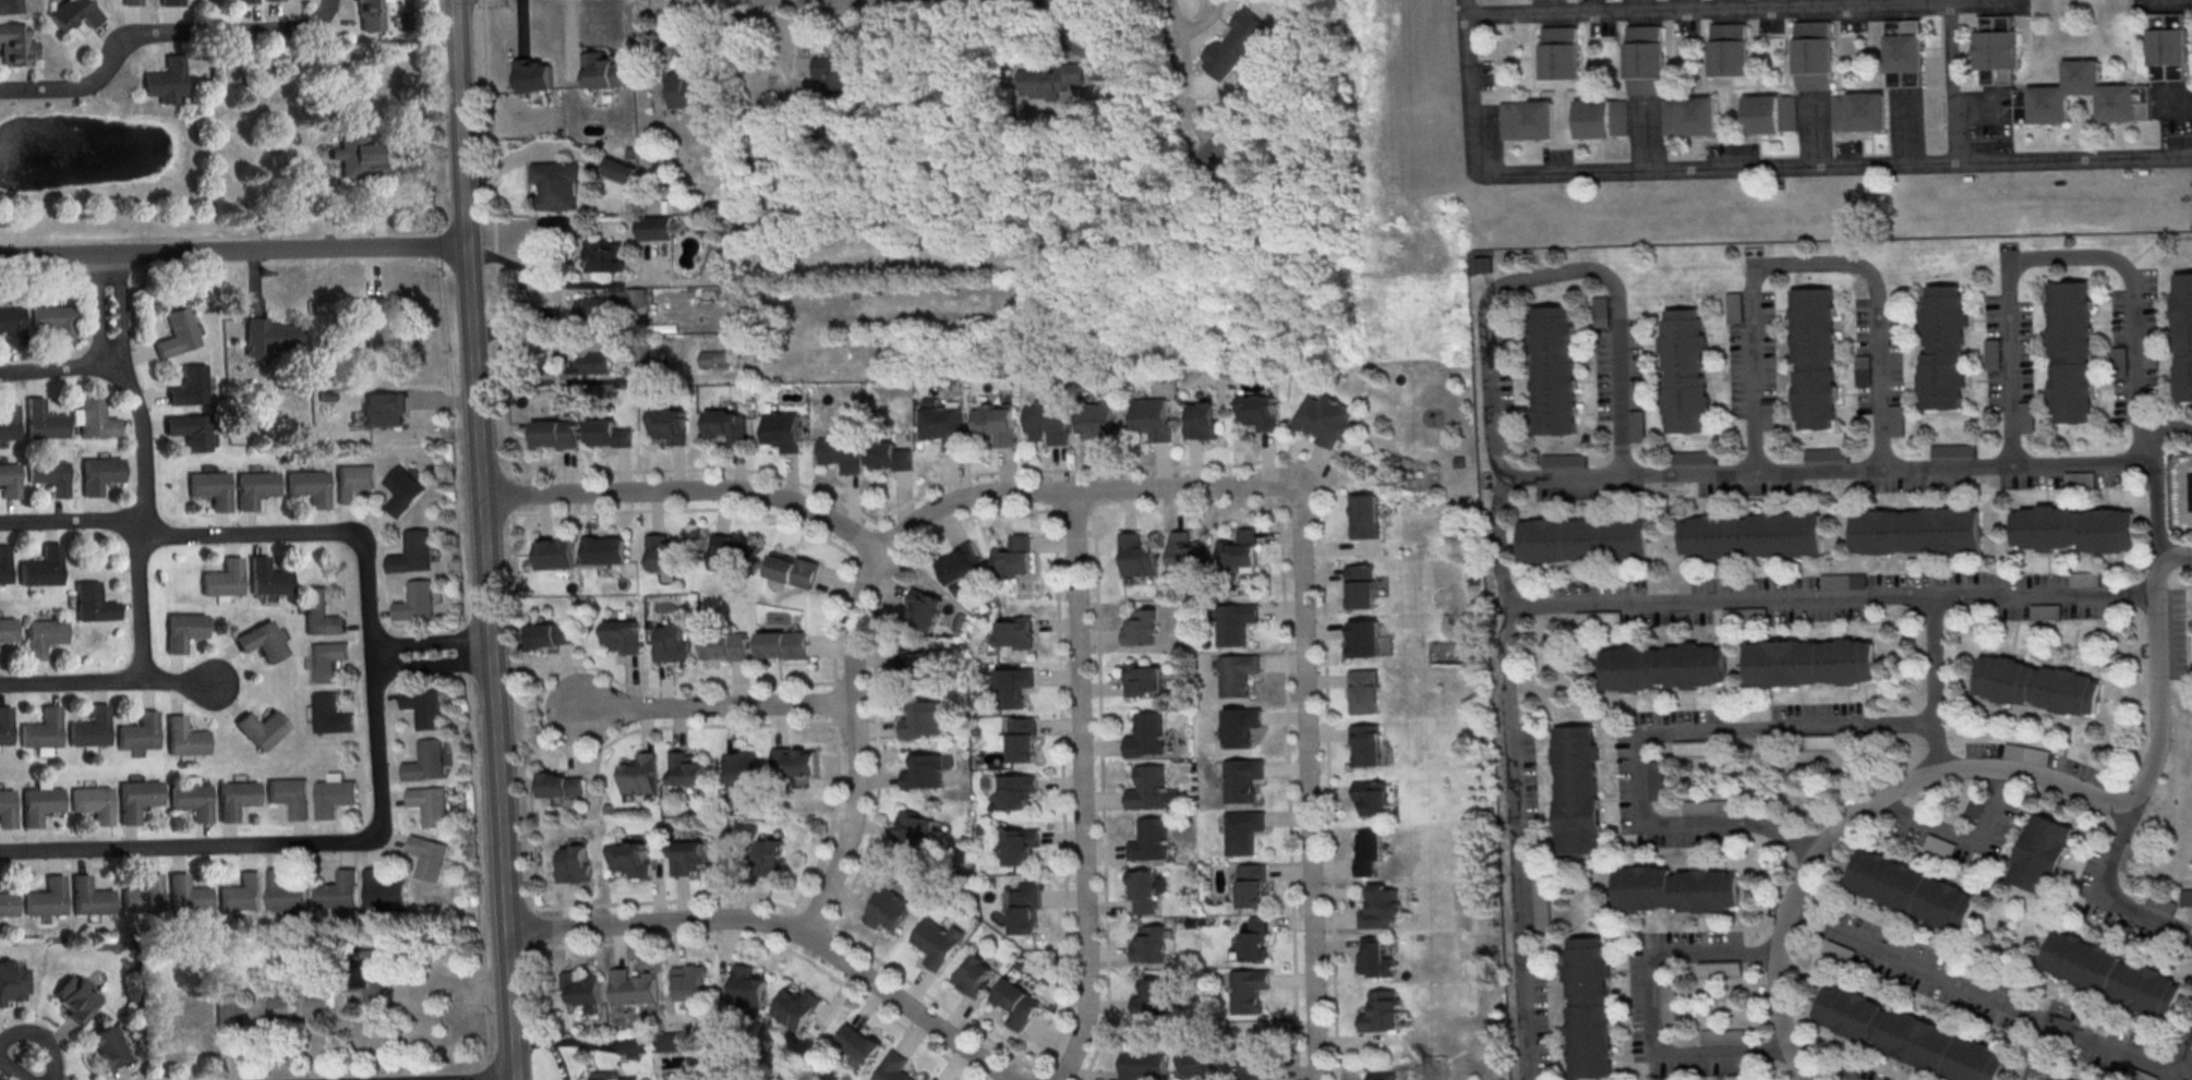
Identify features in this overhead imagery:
building: (272, 1)
road: (1984, 1)
building: (245, 2)
building: (129, 4)
building: (169, 4)
building: (9, 8)
road: (1710, 11)
building: (71, 15)
building: (369, 16)
road: (1194, 25)
road: (290, 29)
road: (522, 31)
road: (570, 37)
road: (675, 38)
road: (803, 39)
building: (1234, 47)
building: (2167, 47)
building: (14, 48)
road: (1082, 49)
building: (1730, 49)
building: (1997, 49)
road: (111, 50)
building: (1643, 51)
building: (1559, 52)
building: (1904, 52)
building: (1812, 54)
building: (601, 74)
building: (838, 75)
building: (534, 78)
building: (164, 84)
building: (1049, 84)
road: (1466, 87)
building: (2082, 89)
road: (1955, 90)
building: (689, 96)
building: (1858, 111)
building: (1771, 113)
building: (1689, 117)
building: (1601, 118)
building: (1527, 119)
road: (534, 150)
building: (1214, 153)
building: (354, 158)
road: (1832, 167)
building: (618, 173)
building: (557, 187)
road: (328, 195)
road: (377, 213)
building: (654, 231)
road: (495, 239)
road: (234, 251)
road: (2069, 258)
building: (602, 259)
building: (1483, 264)
road: (1809, 264)
road: (1553, 275)
road: (577, 286)
building: (612, 304)
building: (1601, 311)
road: (98, 313)
road: (119, 313)
building: (53, 324)
building: (12, 329)
building: (375, 337)
building: (174, 338)
building: (2183, 339)
building: (266, 340)
building: (643, 352)
building: (2151, 352)
building: (1991, 354)
building: (1941, 355)
building: (2071, 356)
building: (1814, 357)
building: (1504, 359)
building: (712, 362)
building: (2120, 362)
building: (595, 367)
building: (1862, 369)
road: (55, 371)
road: (643, 372)
building: (1554, 375)
building: (1685, 378)
road: (603, 383)
building: (189, 388)
building: (385, 412)
building: (1767, 414)
building: (1257, 416)
building: (2025, 416)
building: (1201, 420)
building: (94, 422)
building: (1152, 422)
building: (996, 423)
building: (1325, 423)
building: (8, 425)
building: (43, 425)
building: (1636, 425)
building: (1097, 426)
building: (1048, 427)
building: (727, 429)
building: (943, 429)
building: (670, 430)
building: (189, 434)
building: (782, 434)
building: (555, 438)
building: (610, 438)
building: (1952, 450)
building: (840, 458)
building: (889, 461)
road: (1856, 470)
road: (609, 473)
building: (99, 477)
building: (2080, 480)
building: (48, 481)
building: (353, 484)
building: (9, 485)
power tower: (1413, 487)
building: (254, 490)
building: (309, 490)
road: (688, 490)
road: (1075, 490)
building: (210, 492)
building: (404, 494)
road: (140, 521)
building: (1364, 521)
building: (2073, 534)
road: (178, 537)
building: (1914, 538)
road: (484, 539)
building: (1749, 541)
road: (1497, 544)
building: (1585, 545)
building: (605, 550)
building: (1239, 550)
building: (1187, 551)
building: (664, 553)
building: (558, 554)
building: (730, 554)
building: (1136, 555)
building: (1013, 557)
building: (413, 558)
building: (960, 563)
building: (3, 568)
building: (795, 570)
building: (40, 572)
building: (2083, 579)
building: (265, 580)
building: (1843, 581)
building: (222, 583)
building: (1359, 585)
road: (1856, 602)
building: (92, 603)
building: (417, 605)
building: (925, 609)
building: (2044, 611)
building: (320, 615)
building: (1597, 619)
building: (1232, 622)
building: (1141, 628)
building: (7, 630)
building: (181, 632)
building: (1014, 632)
road: (1281, 633)
building: (552, 634)
building: (625, 635)
building: (41, 636)
building: (1361, 638)
building: (261, 642)
road: (426, 642)
building: (673, 642)
building: (782, 645)
building: (725, 646)
building: (1808, 660)
building: (326, 662)
building: (915, 665)
building: (1661, 666)
road: (430, 667)
road: (463, 669)
building: (1234, 674)
building: (1143, 679)
road: (70, 683)
road: (177, 683)
road: (1931, 685)
road: (372, 687)
building: (1012, 687)
building: (1362, 691)
building: (2036, 691)
building: (423, 707)
road: (710, 707)
building: (329, 716)
building: (919, 720)
building: (4, 726)
building: (1238, 726)
building: (89, 728)
building: (260, 729)
building: (40, 730)
building: (137, 733)
building: (1148, 733)
road: (1651, 736)
building: (183, 739)
building: (1019, 740)
building: (1364, 745)
road: (853, 748)
building: (1693, 748)
building: (2025, 754)
building: (424, 762)
building: (794, 762)
building: (740, 768)
building: (686, 769)
road: (2015, 770)
building: (922, 772)
building: (640, 774)
building: (1239, 779)
building: (1653, 779)
building: (563, 784)
building: (1152, 785)
road: (1305, 786)
road: (1079, 788)
building: (1574, 789)
building: (1015, 790)
building: (289, 796)
building: (1371, 796)
building: (333, 797)
road: (1099, 797)
building: (136, 799)
building: (236, 799)
building: (191, 802)
road: (1060, 802)
building: (92, 804)
building: (429, 804)
building: (38, 805)
building: (1703, 806)
building: (1972, 808)
building: (5, 810)
road: (1326, 810)
building: (914, 827)
building: (1240, 832)
road: (1958, 836)
building: (1153, 838)
road: (1513, 842)
road: (822, 844)
building: (1019, 845)
building: (1937, 845)
road: (186, 848)
building: (1366, 851)
building: (2039, 853)
building: (687, 857)
building: (2127, 857)
building: (426, 858)
building: (769, 858)
building: (630, 859)
building: (575, 863)
building: (1249, 886)
building: (1672, 887)
building: (381, 889)
building: (1910, 889)
road: (2108, 889)
building: (337, 890)
building: (284, 893)
building: (1142, 893)
building: (240, 895)
building: (185, 896)
building: (141, 897)
building: (2185, 897)
building: (87, 898)
building: (44, 899)
building: (1539, 902)
building: (2159, 903)
building: (5, 906)
building: (1378, 907)
building: (1025, 908)
building: (887, 909)
road: (780, 927)
building: (1254, 939)
building: (936, 942)
building: (1149, 945)
building: (1836, 951)
building: (1373, 959)
building: (1718, 968)
building: (2108, 973)
building: (973, 974)
building: (11, 982)
building: (1996, 982)
building: (689, 983)
building: (373, 984)
building: (634, 986)
building: (583, 987)
building: (746, 987)
road: (914, 990)
building: (1242, 992)
road: (1980, 996)
building: (1152, 997)
building: (73, 999)
building: (1017, 1003)
building: (1666, 1004)
building: (795, 1006)
building: (1586, 1007)
building: (316, 1009)
building: (280, 1010)
building: (1380, 1010)
building: (229, 1012)
road: (1651, 1012)
building: (1906, 1035)
building: (1721, 1036)
road: (41, 1039)
building: (636, 1041)
building: (673, 1041)
building: (857, 1041)
road: (2184, 1044)
road: (550, 1046)
building: (107, 1047)
road: (2040, 1053)
building: (1197, 1063)
building: (1255, 1063)
building: (1140, 1065)
power tower: (1429, 1067)
building: (892, 1068)
road: (12, 1071)
building: (613, 1076)
building: (1382, 1076)
building: (2056, 1078)
building: (935, 1079)

